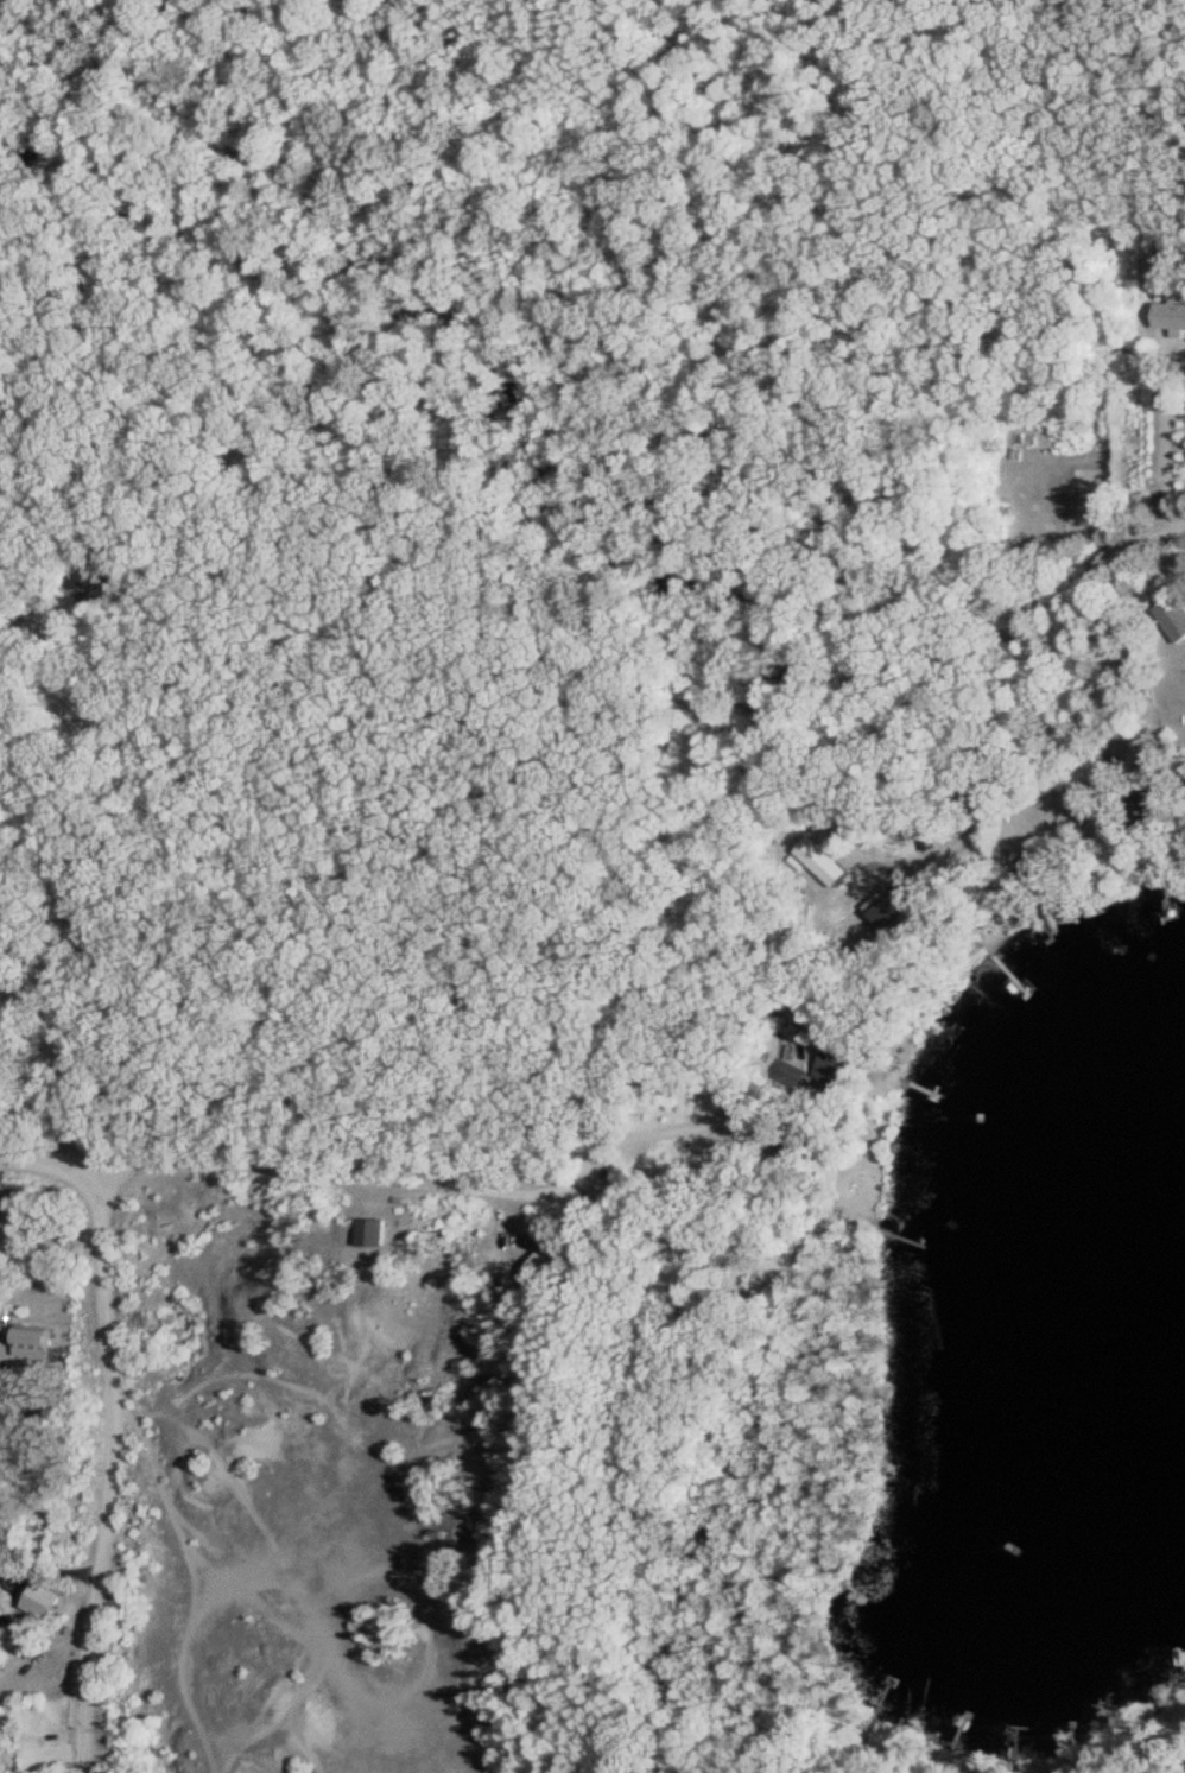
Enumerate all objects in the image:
building: (1172, 315)
road: (1120, 550)
building: (1176, 609)
building: (826, 860)
building: (88, 901)
building: (74, 979)
building: (379, 1230)
building: (37, 1338)
road: (120, 1424)
building: (1, 1617)

